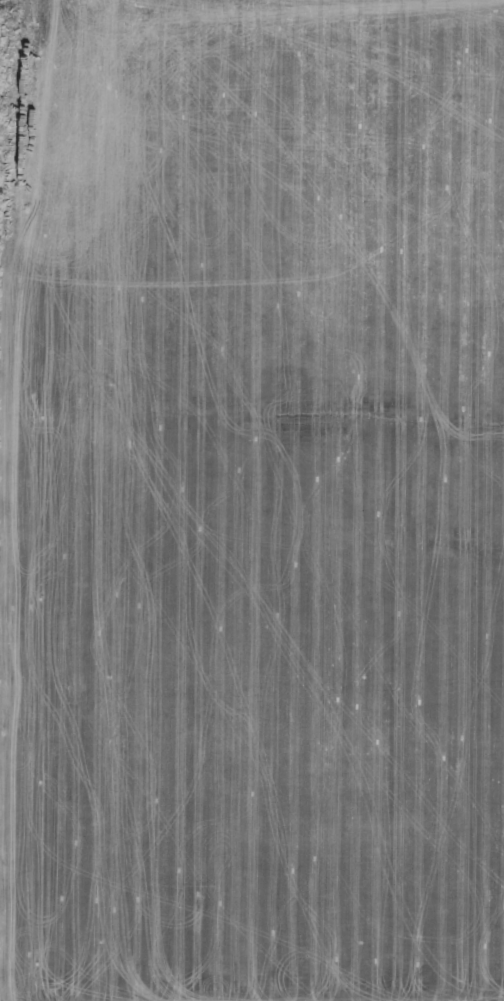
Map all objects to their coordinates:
crop: (252, 500)

